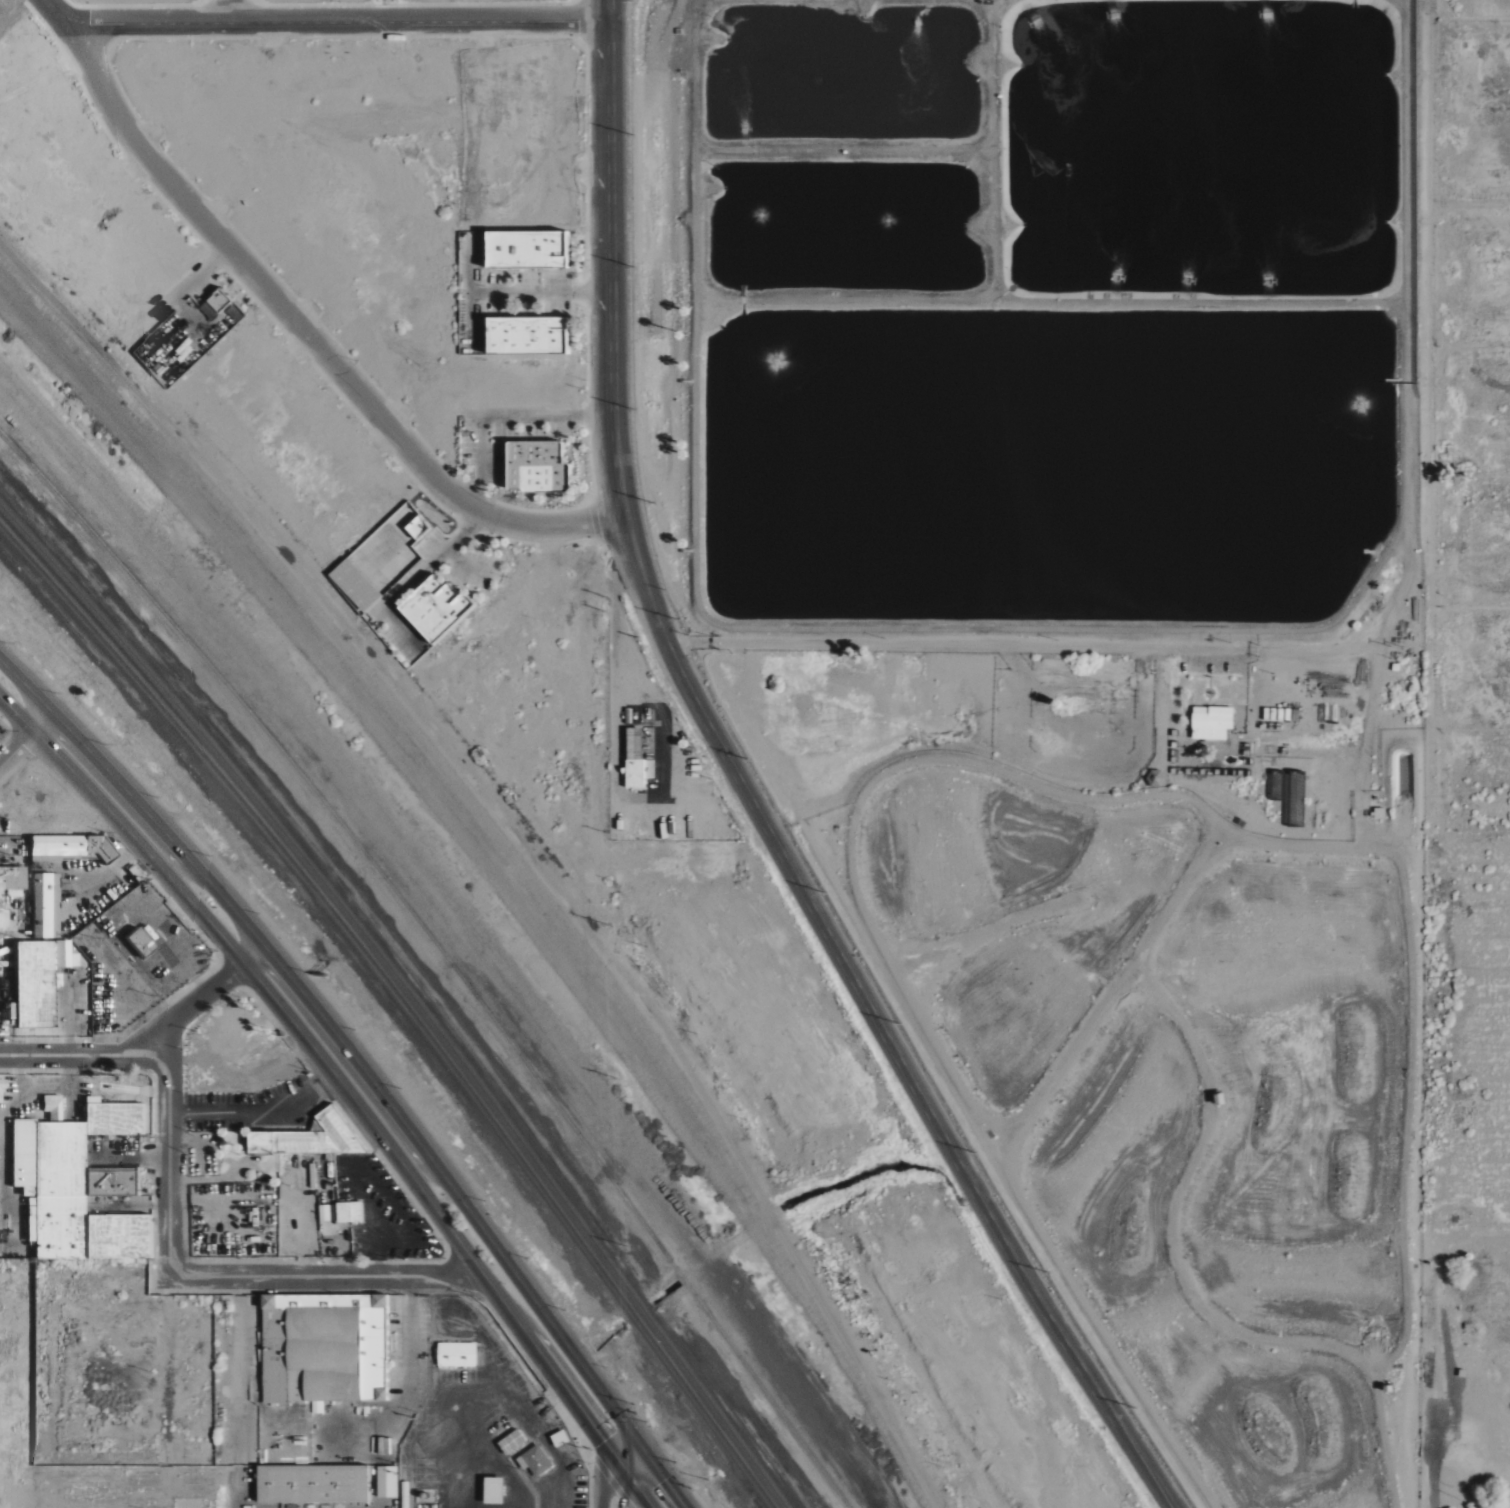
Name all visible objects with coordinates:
road: (229, 9)
road: (61, 10)
road: (340, 19)
fountain: (877, 215)
building: (525, 249)
road: (609, 260)
road: (540, 292)
building: (214, 304)
road: (307, 335)
building: (525, 335)
building: (534, 466)
building: (432, 608)
road: (1337, 644)
road: (1374, 672)
railway: (155, 683)
road: (8, 705)
road: (36, 712)
building: (1211, 722)
road: (25, 723)
road: (17, 749)
building: (633, 758)
building: (1295, 798)
road: (123, 808)
road: (133, 837)
building: (68, 846)
building: (44, 905)
building: (1, 919)
building: (137, 942)
road: (249, 947)
road: (235, 954)
railway: (442, 954)
building: (36, 980)
railway: (403, 1003)
road: (878, 1024)
road: (333, 1032)
road: (132, 1039)
road: (347, 1070)
building: (2, 1084)
road: (255, 1112)
building: (307, 1138)
road: (169, 1147)
building: (76, 1183)
railway: (548, 1184)
road: (382, 1189)
road: (428, 1204)
building: (348, 1212)
building: (324, 1213)
road: (324, 1271)
road: (237, 1282)
building: (328, 1345)
building: (456, 1355)
road: (410, 1379)
road: (237, 1380)
traffic signals: (603, 1442)
road: (620, 1442)
building: (383, 1446)
road: (639, 1447)
railway: (720, 1451)
building: (533, 1461)
road: (619, 1464)
road: (639, 1469)
road: (656, 1470)
road: (1459, 1475)
road: (603, 1479)
traffic signals: (664, 1480)
building: (311, 1485)
road: (234, 1486)
road: (625, 1486)
building: (492, 1492)
road: (640, 1493)
road: (674, 1494)
traffic signals: (622, 1495)
road: (620, 1501)

